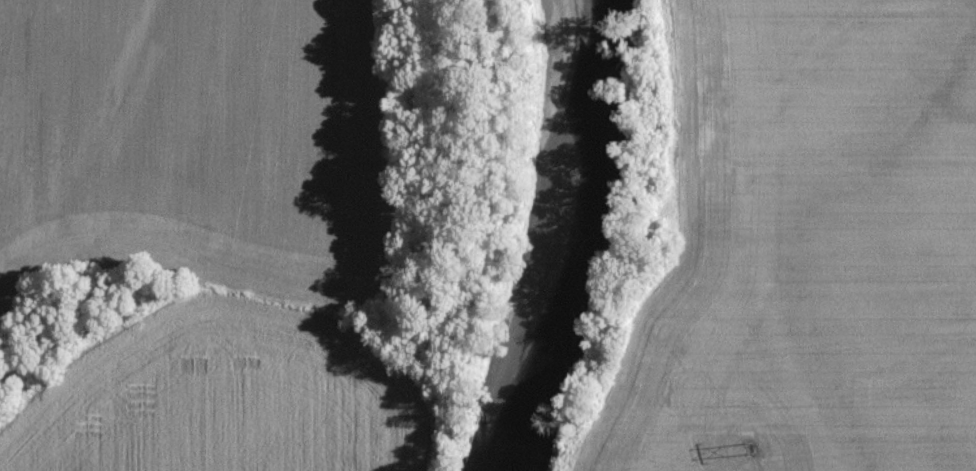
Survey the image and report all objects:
river: (578, 240)

